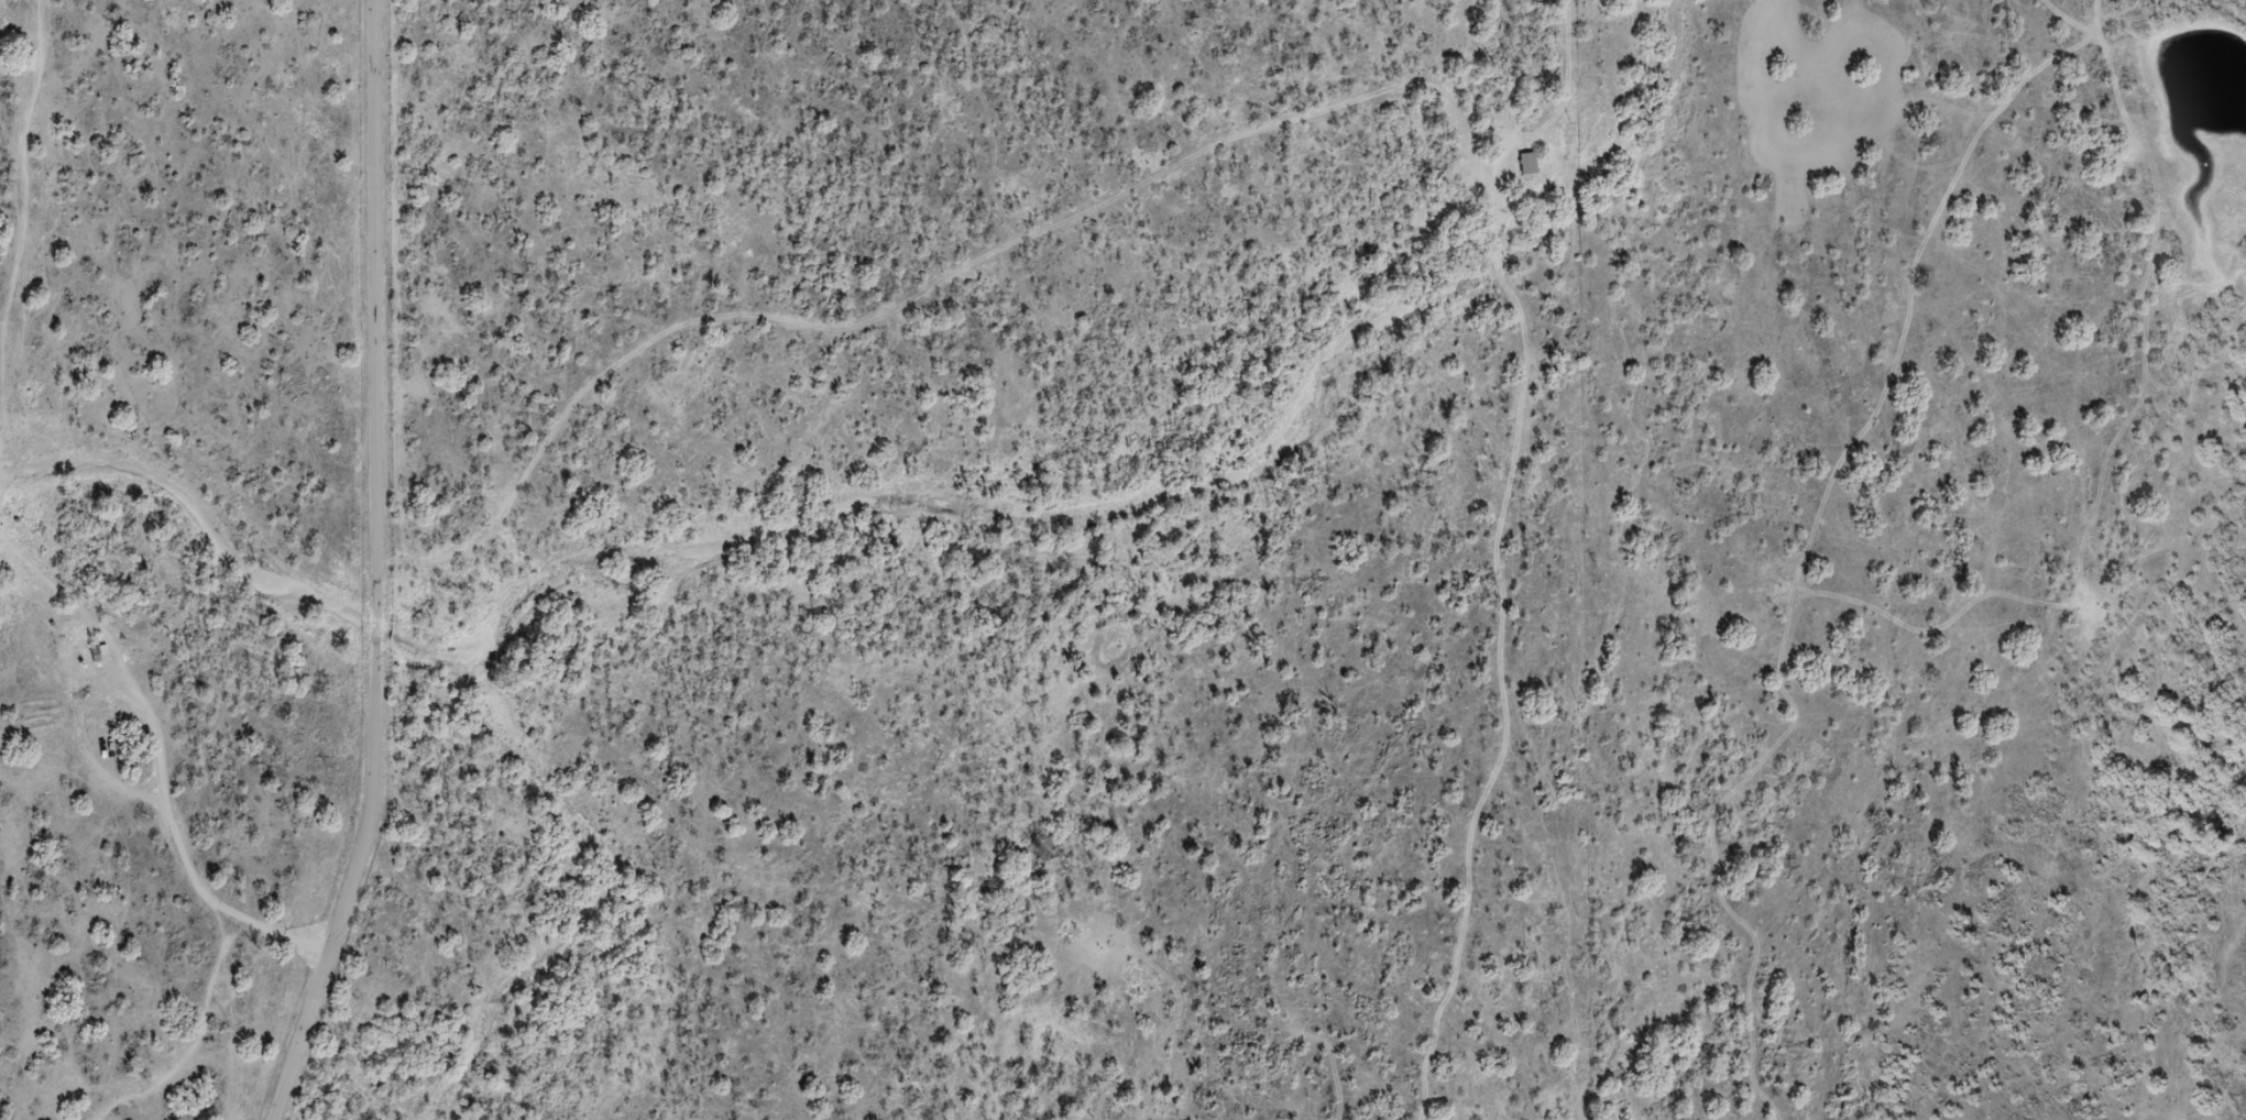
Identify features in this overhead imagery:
building: (1524, 165)
road: (379, 568)

